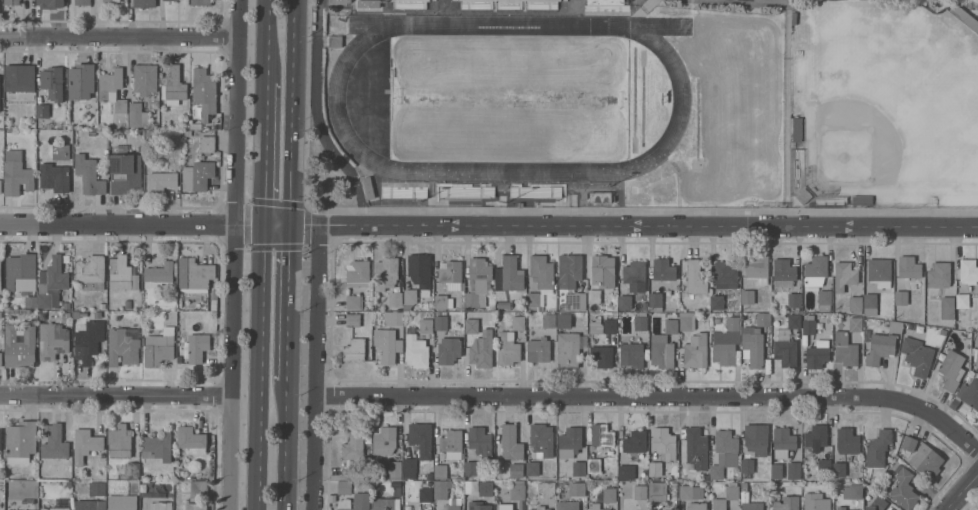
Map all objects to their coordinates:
building: (110, 0)
building: (168, 0)
building: (342, 0)
building: (12, 2)
building: (83, 2)
building: (201, 2)
building: (605, 2)
building: (51, 3)
building: (144, 3)
building: (369, 3)
building: (973, 3)
building: (409, 4)
building: (508, 5)
road: (118, 34)
road: (268, 40)
building: (335, 40)
building: (20, 77)
building: (146, 78)
building: (82, 80)
building: (53, 82)
building: (173, 86)
building: (113, 88)
building: (205, 91)
track: (336, 98)
park: (509, 98)
building: (43, 110)
road: (291, 113)
building: (138, 115)
building: (195, 125)
building: (92, 131)
building: (798, 134)
building: (207, 143)
park: (852, 148)
road: (265, 154)
building: (56, 170)
building: (124, 170)
building: (17, 173)
building: (89, 174)
building: (203, 174)
building: (161, 181)
building: (1, 186)
building: (369, 187)
building: (404, 191)
building: (467, 191)
building: (536, 191)
building: (804, 195)
building: (601, 196)
building: (855, 202)
traffic signals: (263, 228)
traffic signals: (290, 228)
road: (488, 228)
road: (232, 255)
building: (602, 265)
building: (909, 266)
building: (480, 268)
building: (757, 268)
building: (420, 269)
building: (542, 270)
building: (816, 270)
building: (665, 271)
building: (880, 271)
building: (968, 271)
building: (21, 272)
building: (91, 272)
building: (784, 272)
building: (1, 273)
building: (358, 273)
building: (386, 273)
building: (159, 274)
building: (194, 274)
building: (451, 274)
building: (510, 274)
building: (634, 274)
building: (845, 274)
building: (939, 274)
building: (124, 275)
building: (725, 275)
building: (696, 277)
building: (571, 280)
building: (53, 282)
building: (608, 293)
building: (501, 294)
road: (288, 296)
building: (595, 296)
building: (748, 296)
building: (902, 297)
building: (395, 298)
building: (214, 299)
building: (409, 299)
building: (476, 299)
building: (655, 299)
building: (794, 299)
building: (353, 300)
building: (534, 300)
building: (824, 300)
building: (443, 301)
building: (625, 301)
building: (31, 302)
building: (717, 302)
building: (128, 303)
building: (854, 303)
building: (871, 303)
building: (137, 304)
building: (504, 304)
building: (102, 305)
building: (377, 305)
building: (966, 305)
building: (948, 307)
building: (84, 313)
building: (66, 315)
building: (393, 318)
building: (353, 319)
building: (763, 319)
building: (549, 320)
building: (564, 320)
building: (687, 320)
building: (641, 321)
building: (794, 321)
building: (441, 322)
building: (518, 322)
building: (855, 323)
building: (810, 324)
building: (426, 325)
building: (472, 325)
building: (610, 325)
building: (913, 325)
building: (596, 326)
building: (671, 326)
building: (893, 326)
building: (943, 331)
building: (53, 340)
building: (89, 340)
building: (727, 342)
building: (124, 344)
building: (388, 344)
building: (20, 345)
building: (754, 346)
building: (196, 347)
building: (416, 348)
building: (508, 348)
building: (570, 348)
building: (880, 348)
building: (158, 349)
building: (355, 349)
building: (449, 349)
building: (539, 349)
building: (845, 349)
building: (696, 350)
building: (786, 350)
building: (662, 351)
building: (481, 352)
building: (632, 354)
building: (602, 355)
building: (818, 355)
building: (917, 355)
building: (976, 355)
building: (180, 358)
building: (1, 359)
road: (260, 368)
road: (316, 368)
building: (952, 369)
road: (115, 393)
building: (969, 393)
road: (654, 396)
building: (954, 403)
building: (602, 434)
road: (285, 437)
building: (421, 438)
building: (757, 438)
building: (1, 439)
building: (192, 439)
building: (542, 439)
building: (815, 439)
building: (636, 440)
building: (847, 440)
building: (22, 441)
building: (54, 441)
building: (120, 441)
building: (480, 441)
building: (570, 441)
building: (783, 441)
building: (384, 442)
building: (511, 442)
building: (665, 443)
building: (910, 443)
building: (86, 444)
building: (452, 444)
building: (158, 445)
building: (694, 446)
building: (879, 448)
building: (355, 452)
building: (723, 452)
building: (926, 460)
building: (180, 464)
building: (594, 465)
building: (410, 466)
building: (747, 466)
building: (825, 466)
building: (68, 467)
building: (471, 467)
building: (533, 467)
building: (579, 468)
building: (132, 469)
building: (395, 469)
building: (516, 469)
building: (656, 469)
building: (840, 469)
building: (736, 470)
building: (777, 470)
building: (794, 470)
building: (441, 471)
building: (625, 471)
building: (146, 473)
building: (211, 474)
building: (430, 476)
building: (455, 476)
building: (706, 476)
building: (69, 482)
building: (345, 486)
building: (467, 486)
building: (547, 487)
building: (97, 488)
building: (199, 488)
building: (486, 488)
building: (578, 488)
building: (441, 489)
building: (904, 489)
building: (518, 490)
building: (398, 491)
building: (640, 491)
building: (658, 491)
building: (775, 491)
building: (853, 491)
building: (691, 492)
road: (962, 492)
building: (426, 494)
building: (608, 494)
building: (745, 496)
building: (726, 497)
building: (122, 502)
building: (355, 502)
building: (816, 502)
building: (455, 503)
building: (787, 503)
building: (877, 503)
building: (90, 504)
building: (187, 504)
building: (387, 504)
building: (59, 505)
building: (160, 505)
building: (479, 505)
building: (505, 505)
building: (568, 505)
building: (697, 505)
building: (596, 506)
building: (540, 508)
building: (841, 508)
building: (30, 509)
building: (668, 509)

